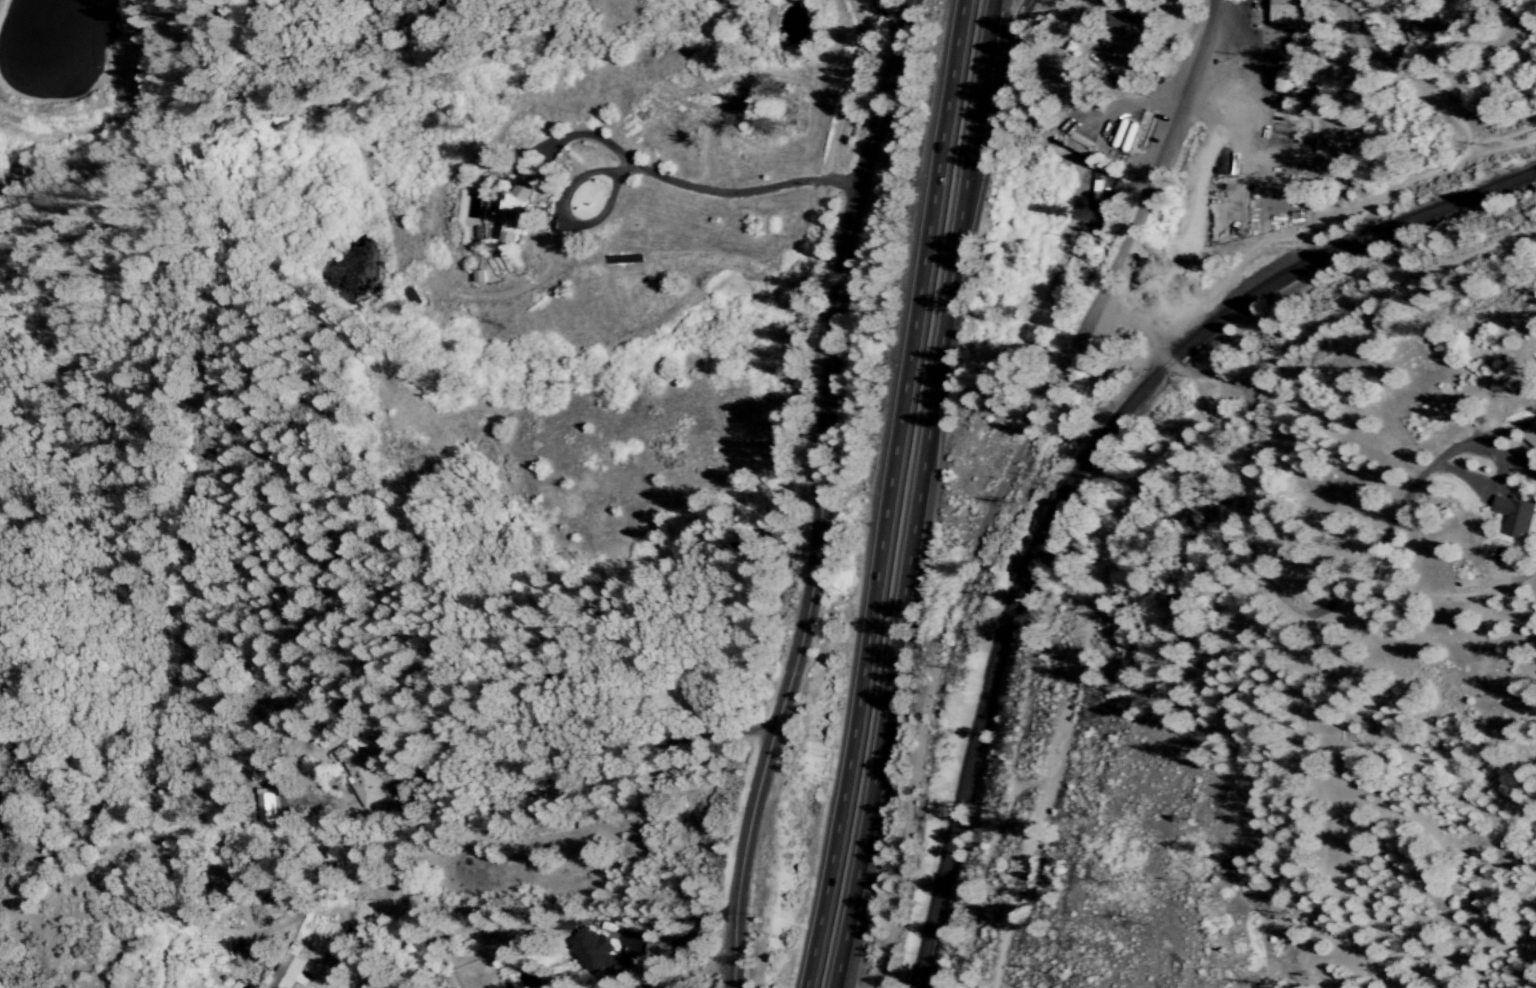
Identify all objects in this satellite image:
road: (1514, 11)
building: (1284, 14)
road: (1527, 18)
building: (1430, 28)
building: (1130, 29)
road: (1428, 85)
road: (994, 94)
road: (576, 137)
road: (1157, 162)
road: (645, 173)
road: (1430, 174)
building: (508, 209)
road: (1236, 260)
road: (1141, 292)
road: (1381, 292)
road: (1178, 374)
building: (1531, 435)
railway: (1086, 467)
road: (818, 493)
road: (886, 494)
road: (915, 494)
building: (1514, 515)
road: (1319, 612)
road: (945, 640)
road: (1077, 662)
road: (564, 759)
building: (364, 780)
building: (264, 805)
road: (508, 813)
road: (677, 917)
road: (648, 950)
building: (655, 952)
building: (290, 970)

